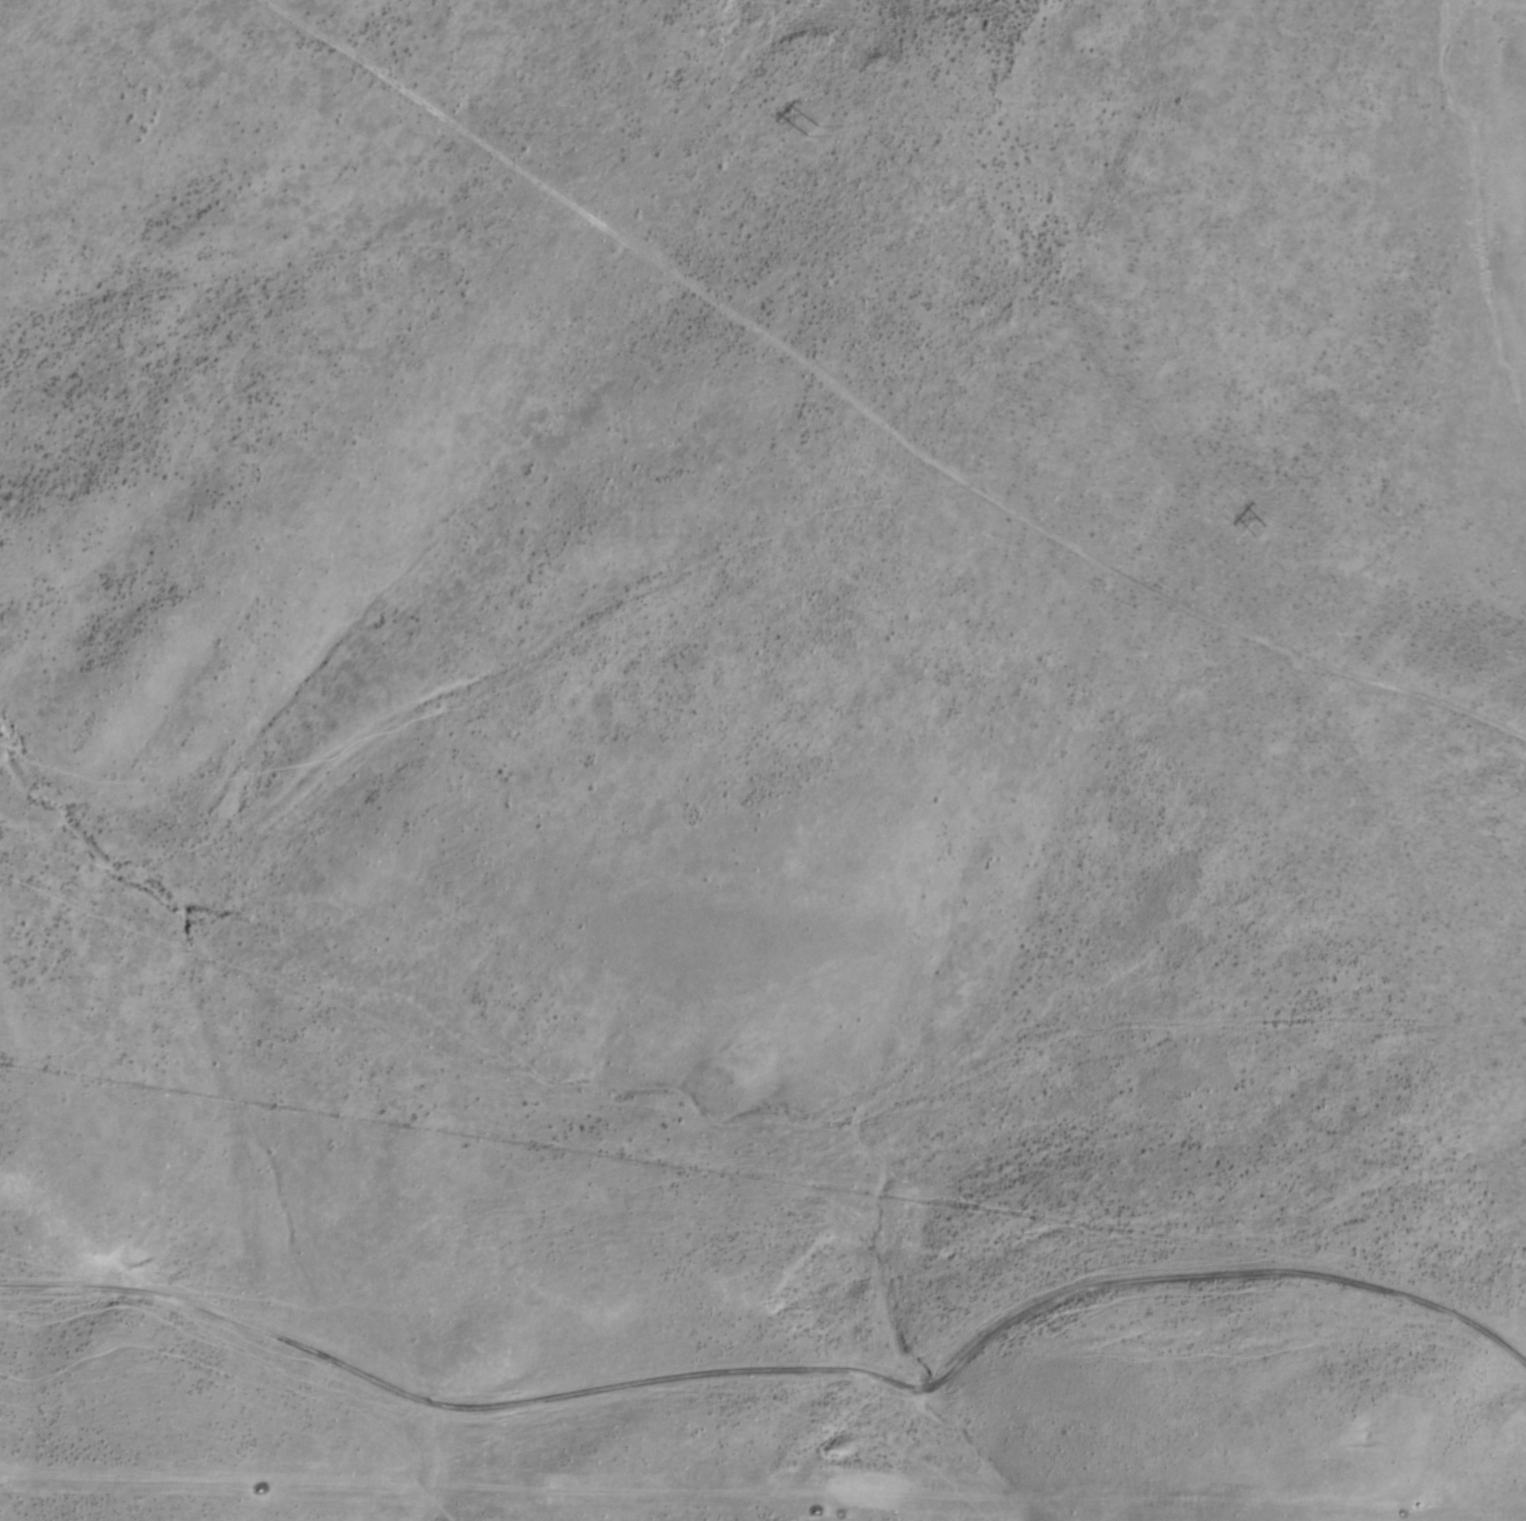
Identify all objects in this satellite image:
power tower: (813, 132)
road: (861, 426)
power tower: (1257, 528)

